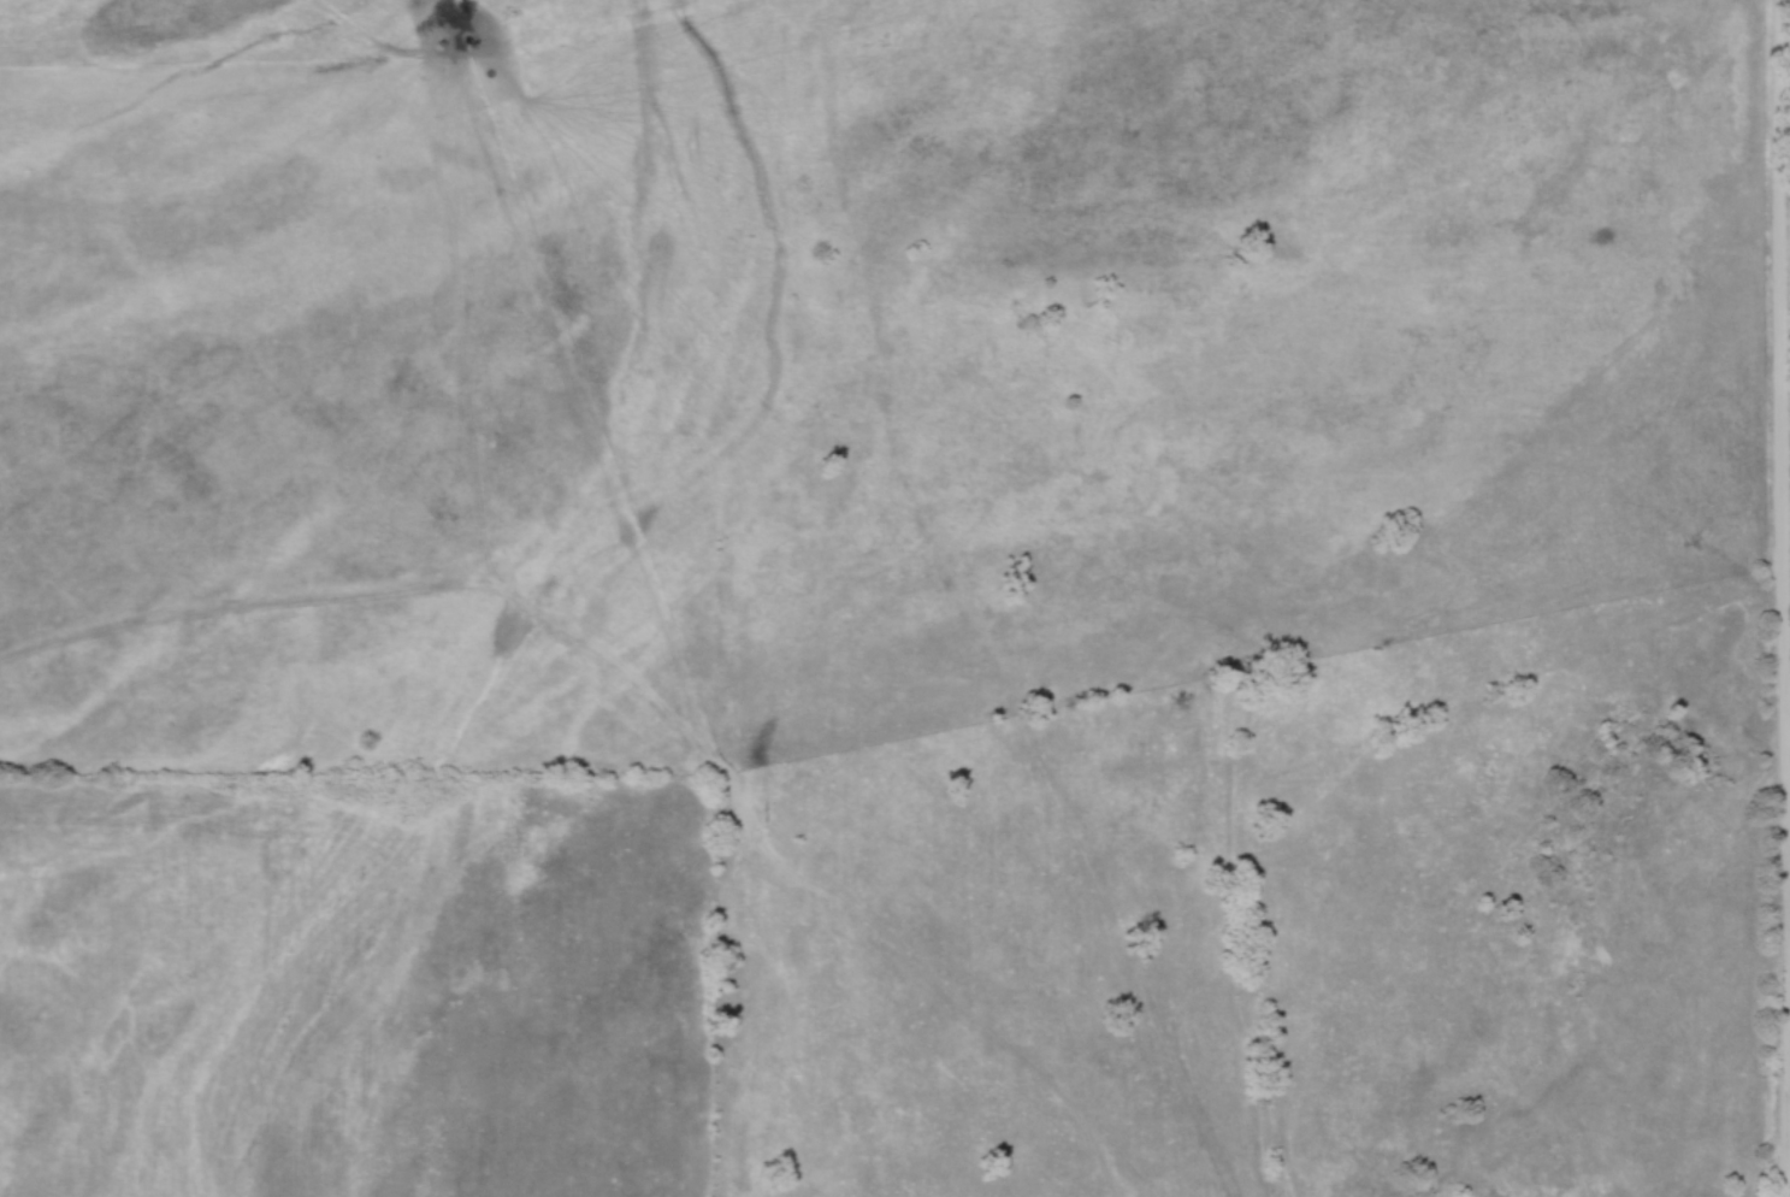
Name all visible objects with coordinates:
road: (1779, 382)
road: (1789, 1155)

